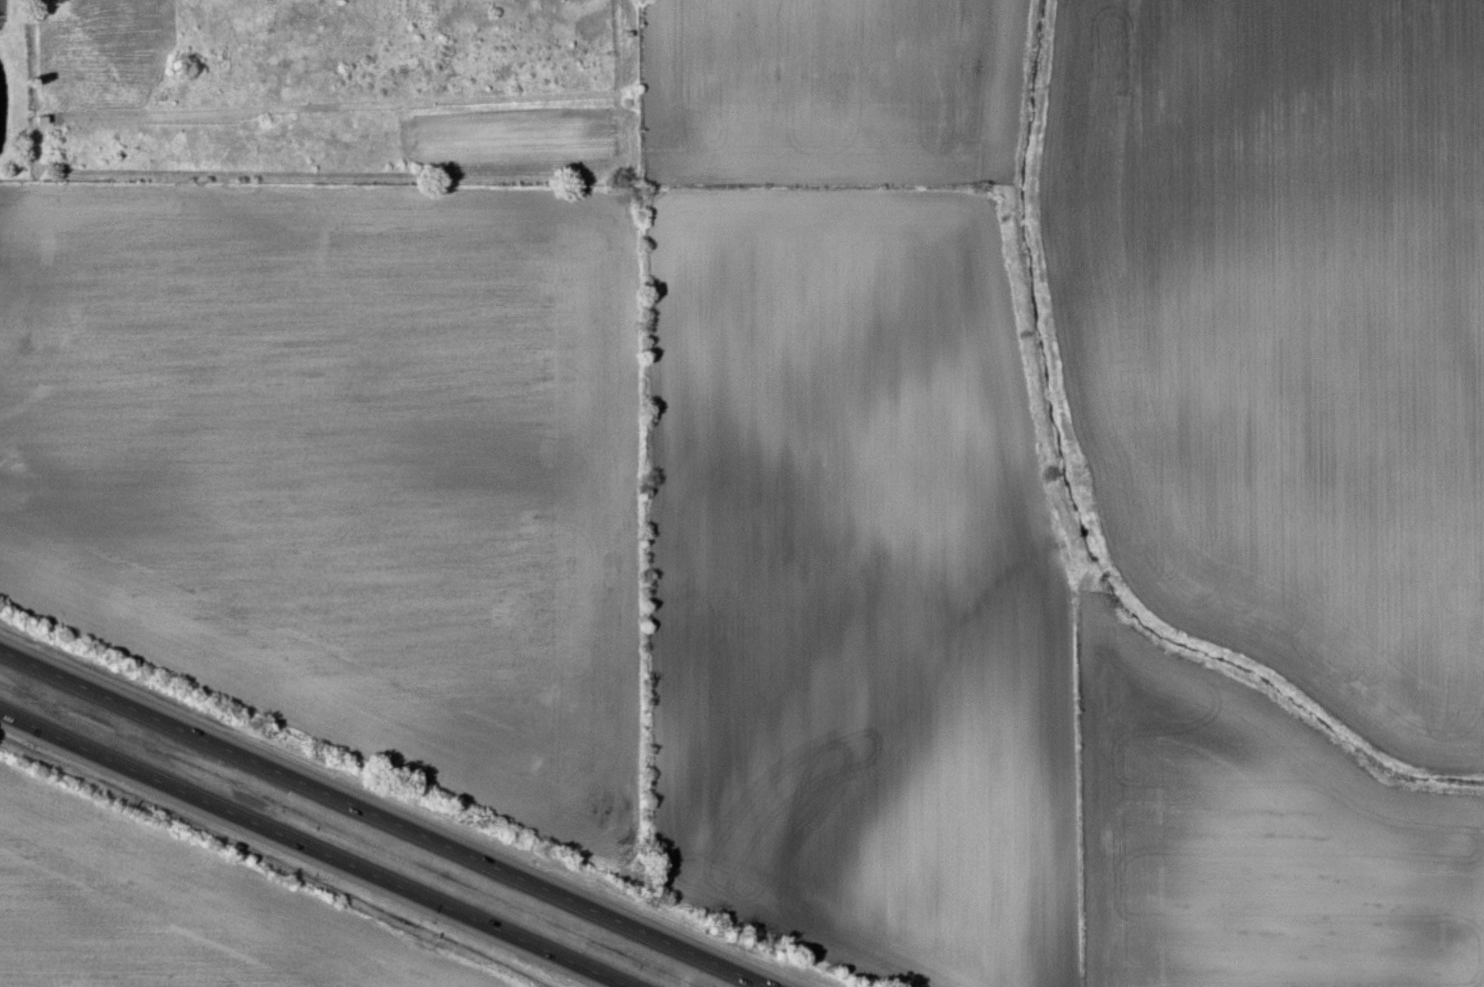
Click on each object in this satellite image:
road: (383, 818)
road: (313, 849)

